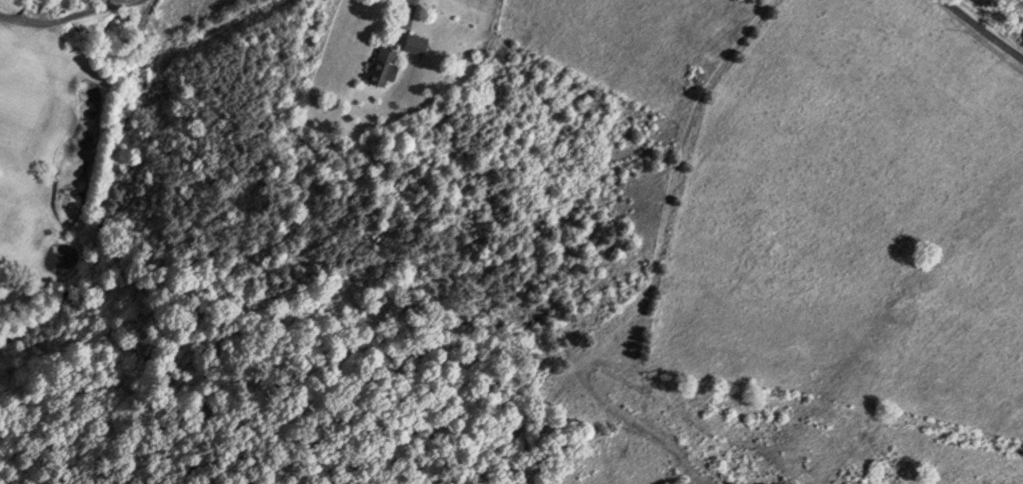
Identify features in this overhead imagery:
building: (383, 65)

